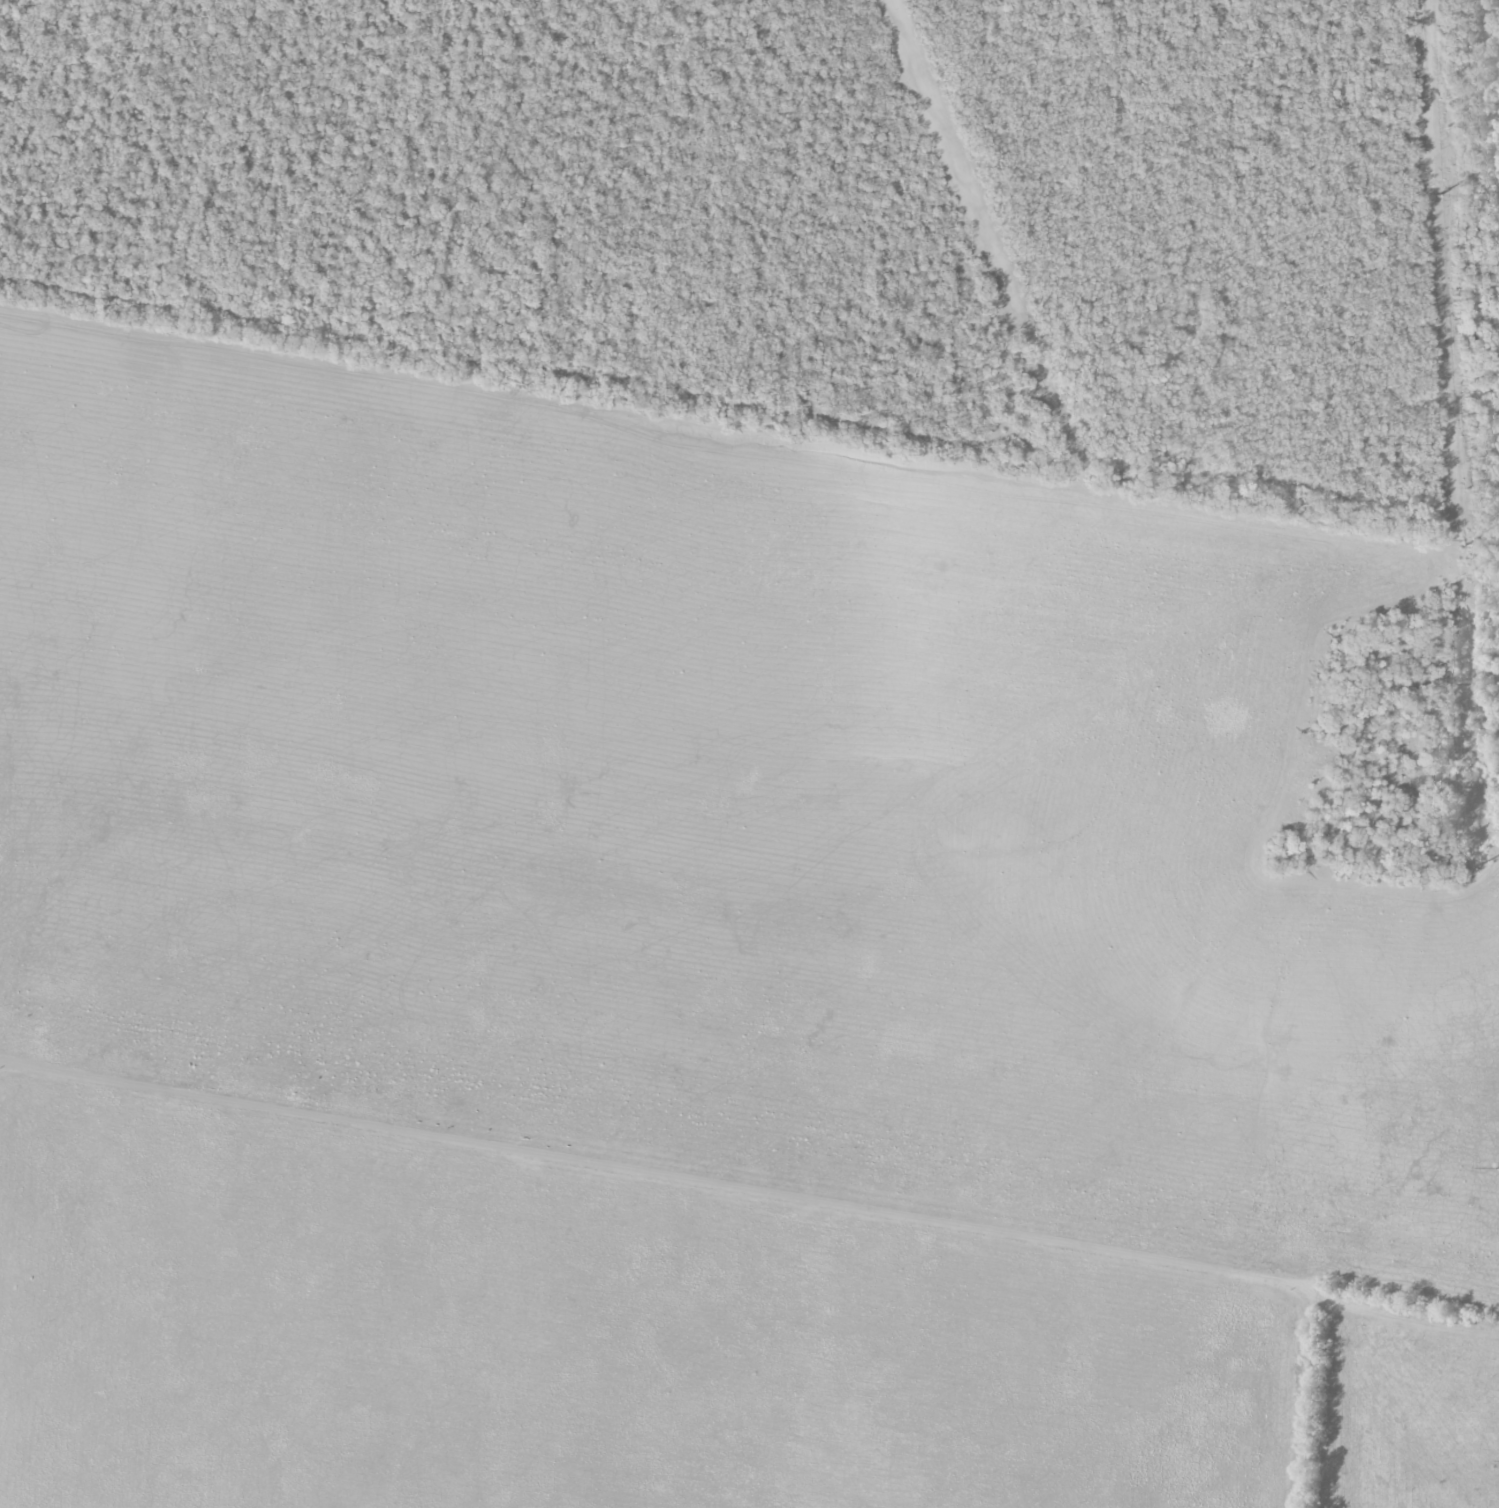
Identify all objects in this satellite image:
power tower: (1437, 190)
power tower: (1460, 547)
power tower: (1481, 866)
power tower: (1498, 1167)

